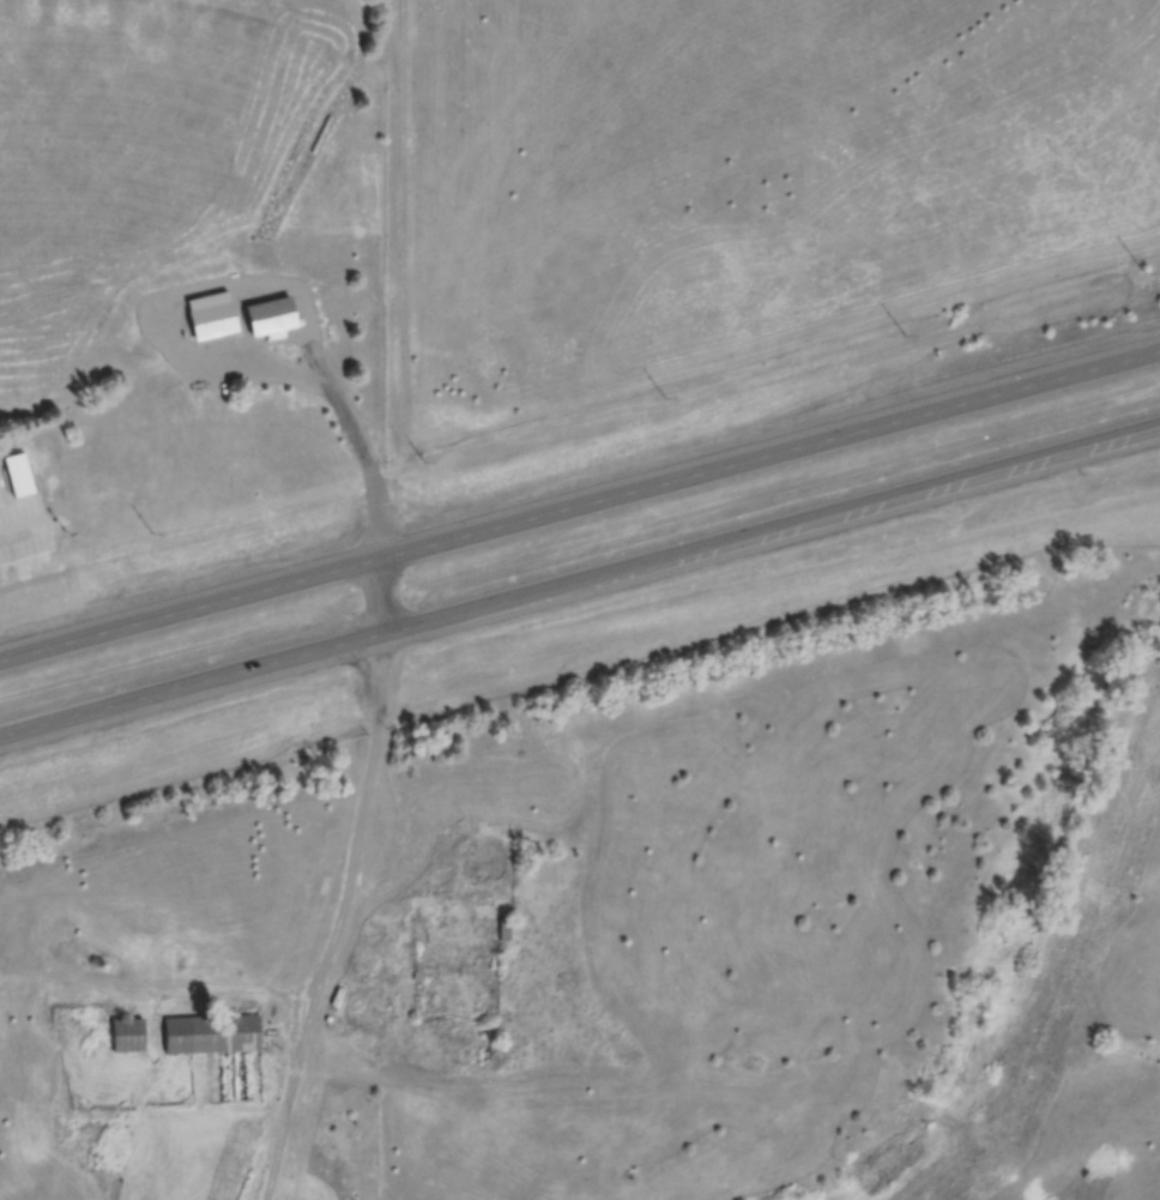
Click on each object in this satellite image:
building: (207, 312)
building: (268, 314)
road: (288, 378)
road: (772, 453)
road: (581, 586)
road: (191, 610)
building: (473, 867)
road: (332, 921)
building: (209, 1032)
building: (125, 1033)

